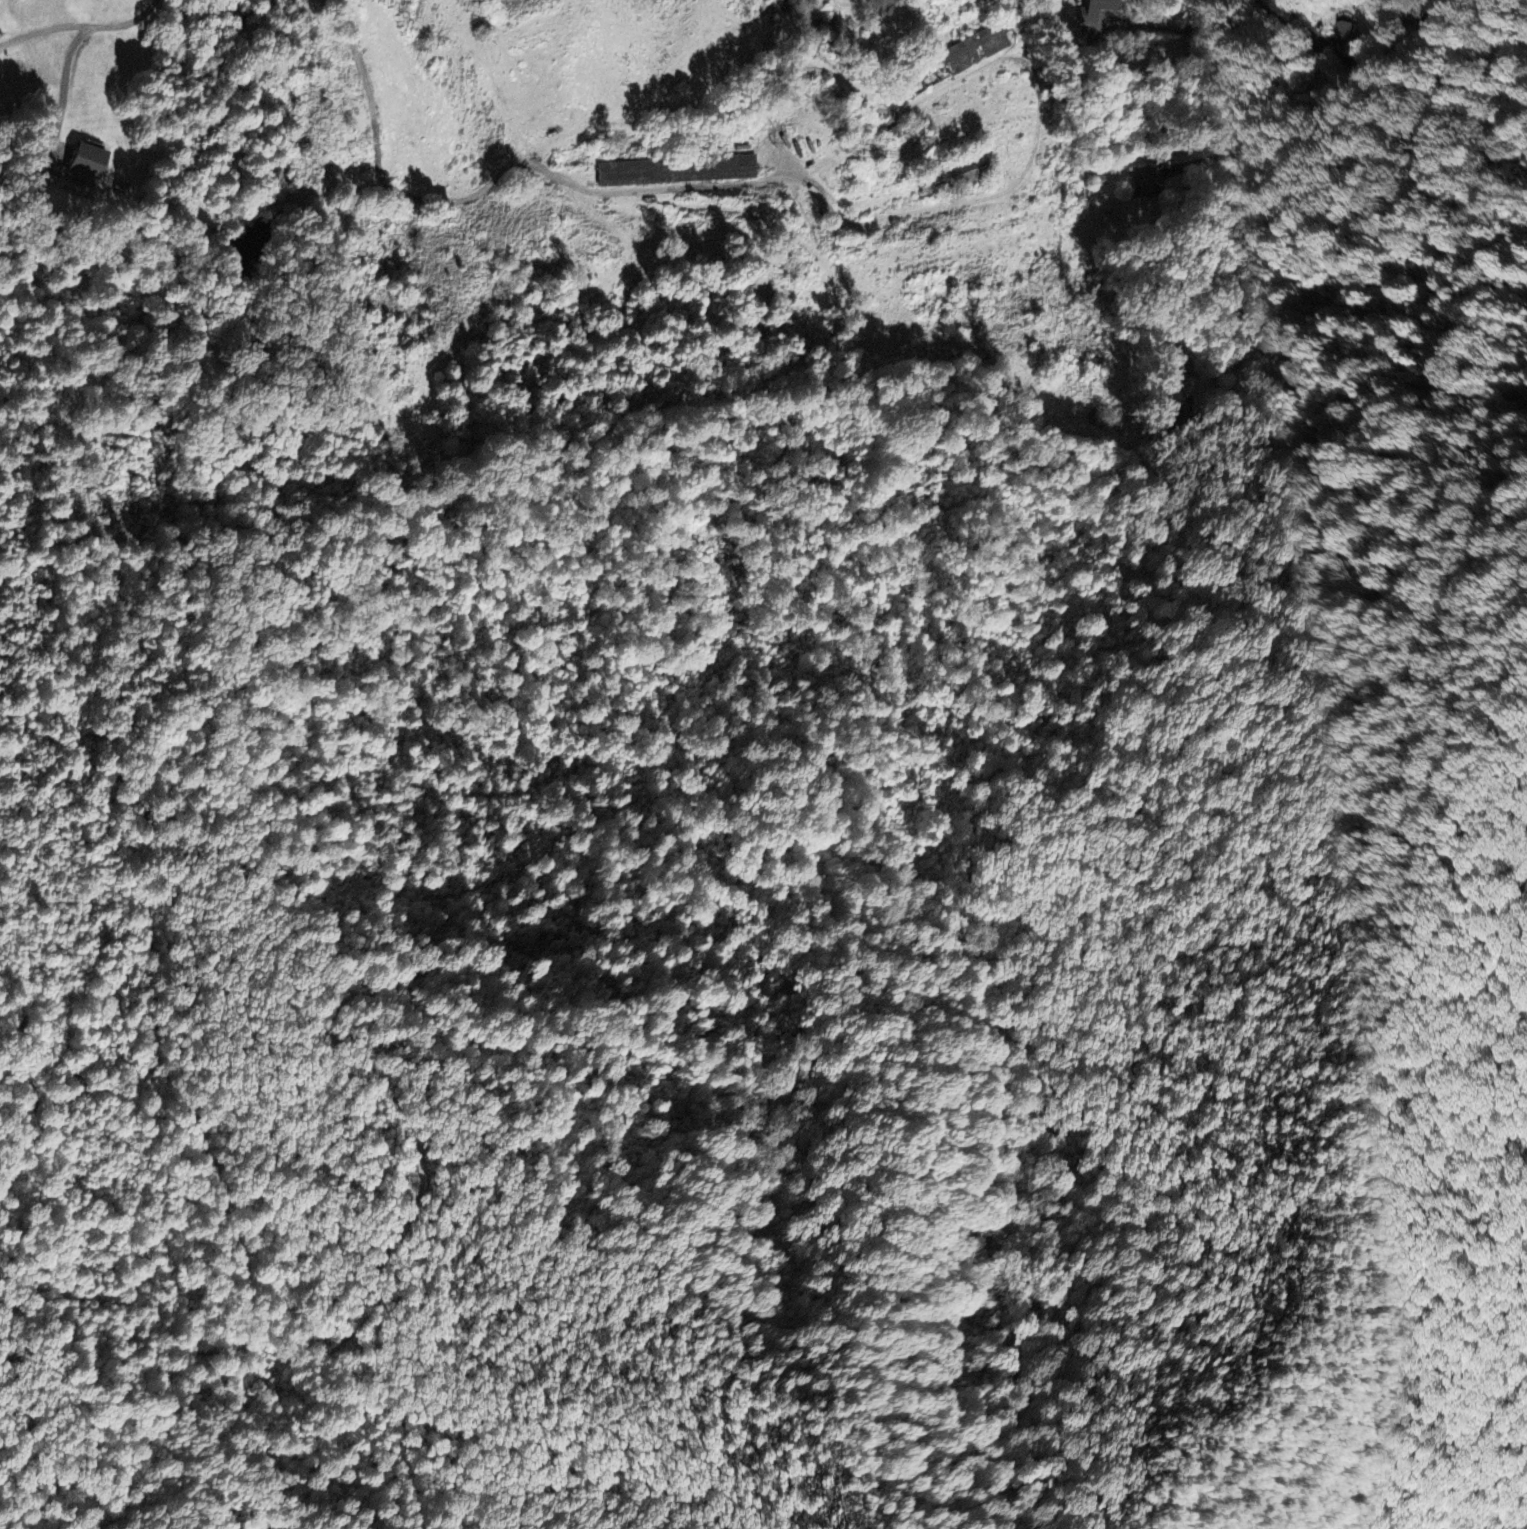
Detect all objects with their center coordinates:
building: (1090, 14)
road: (127, 24)
road: (1160, 26)
road: (43, 30)
building: (1349, 43)
building: (950, 63)
road: (66, 87)
building: (82, 160)
road: (381, 162)
building: (676, 169)
building: (954, 175)
building: (1146, 182)
road: (1260, 202)
building: (1174, 364)

